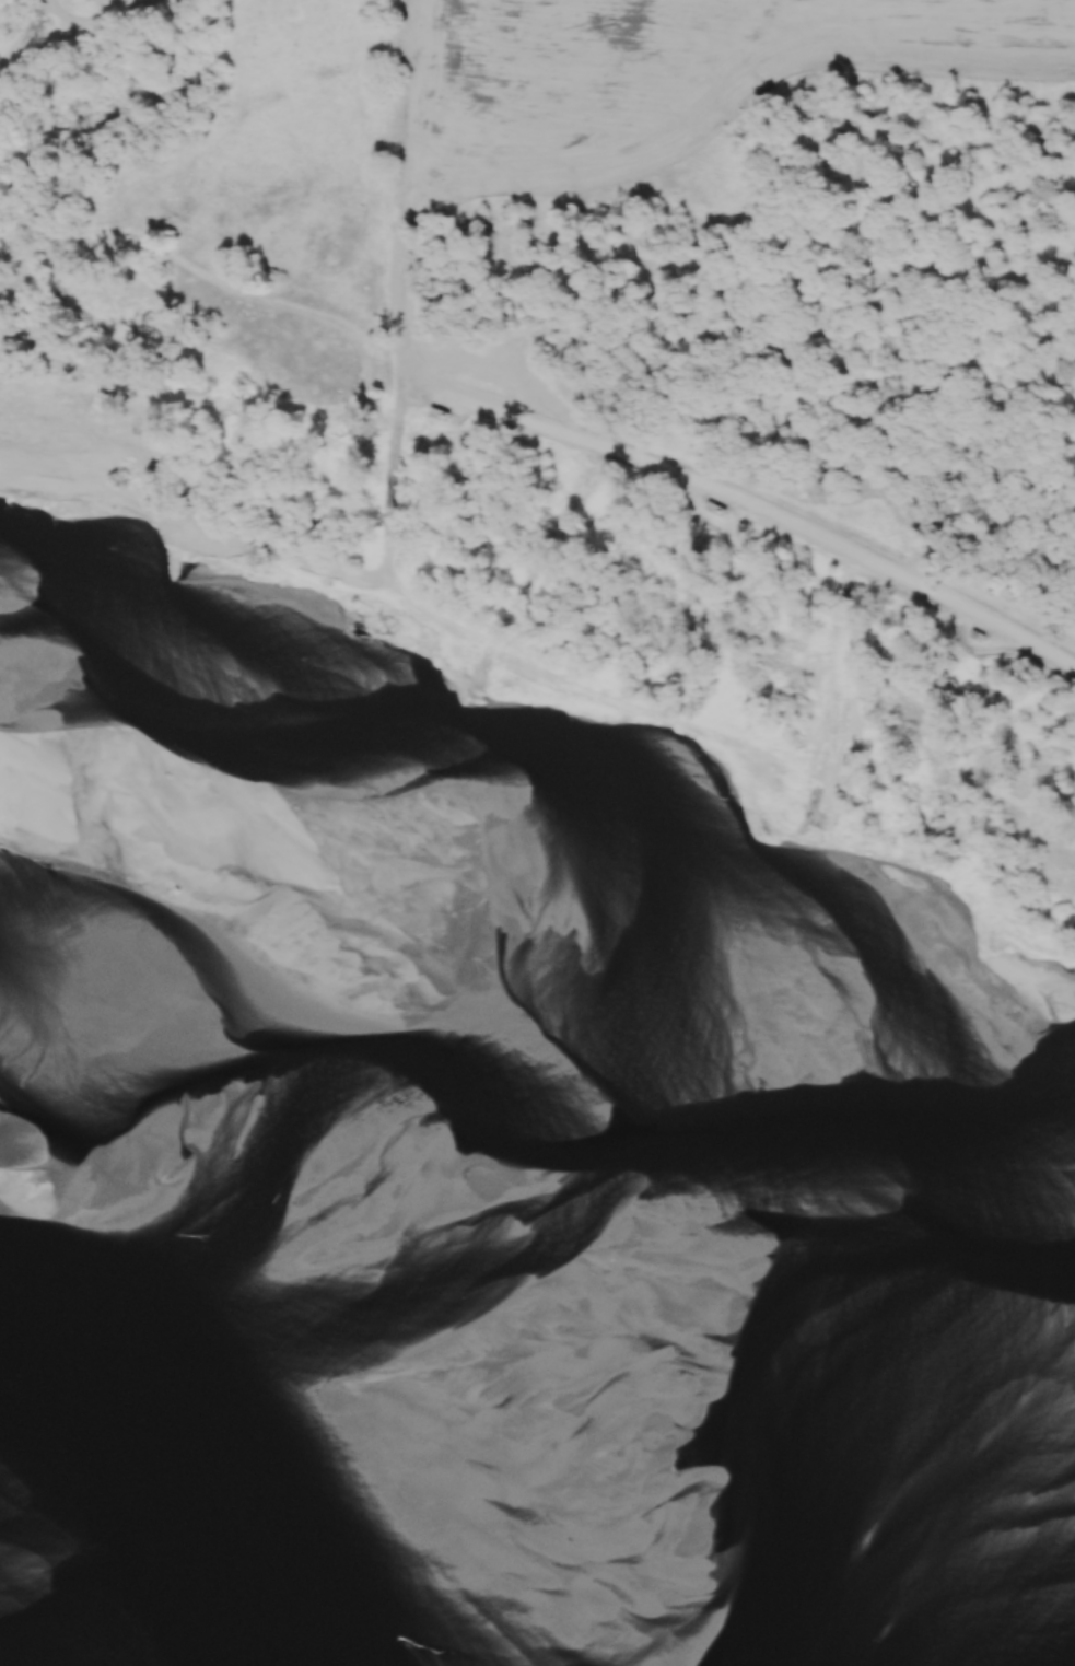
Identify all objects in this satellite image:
road: (101, 23)
road: (16, 27)
building: (444, 415)
building: (720, 510)
road: (811, 533)
river: (511, 1524)

